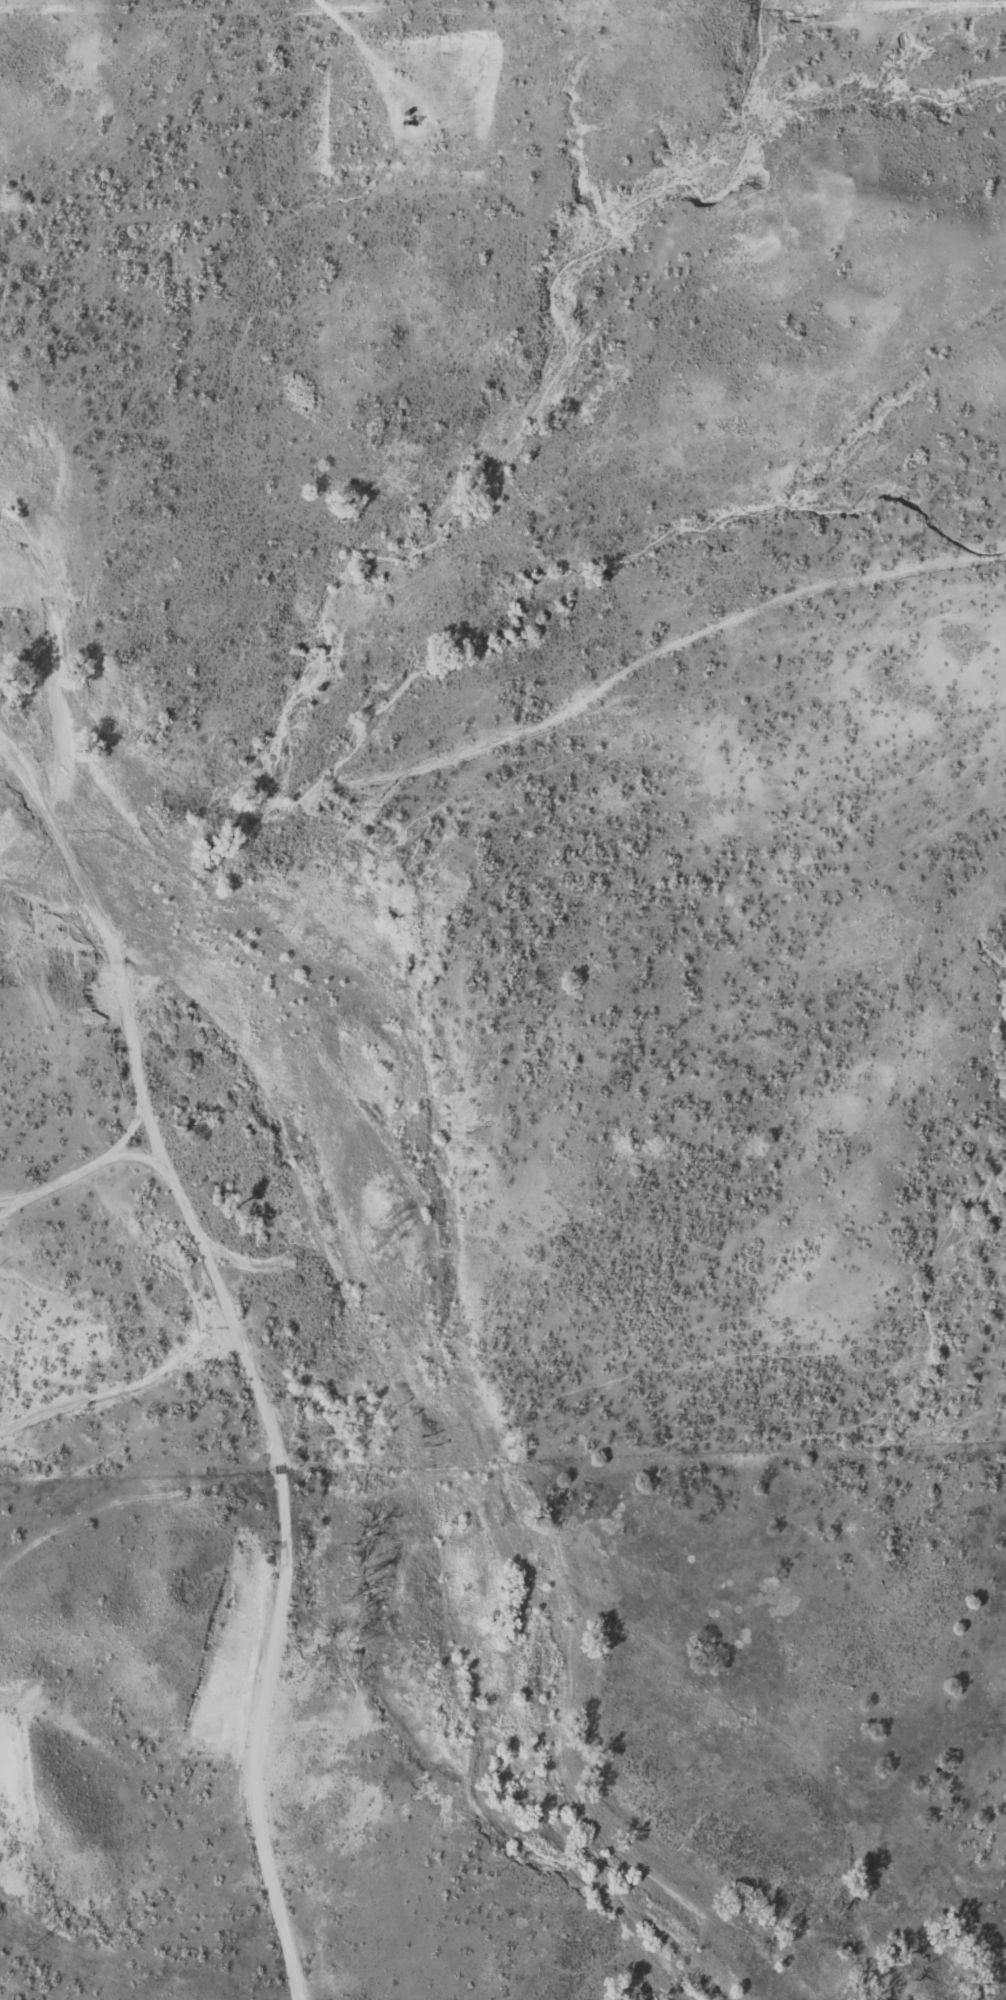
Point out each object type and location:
power tower: (33, 1947)

